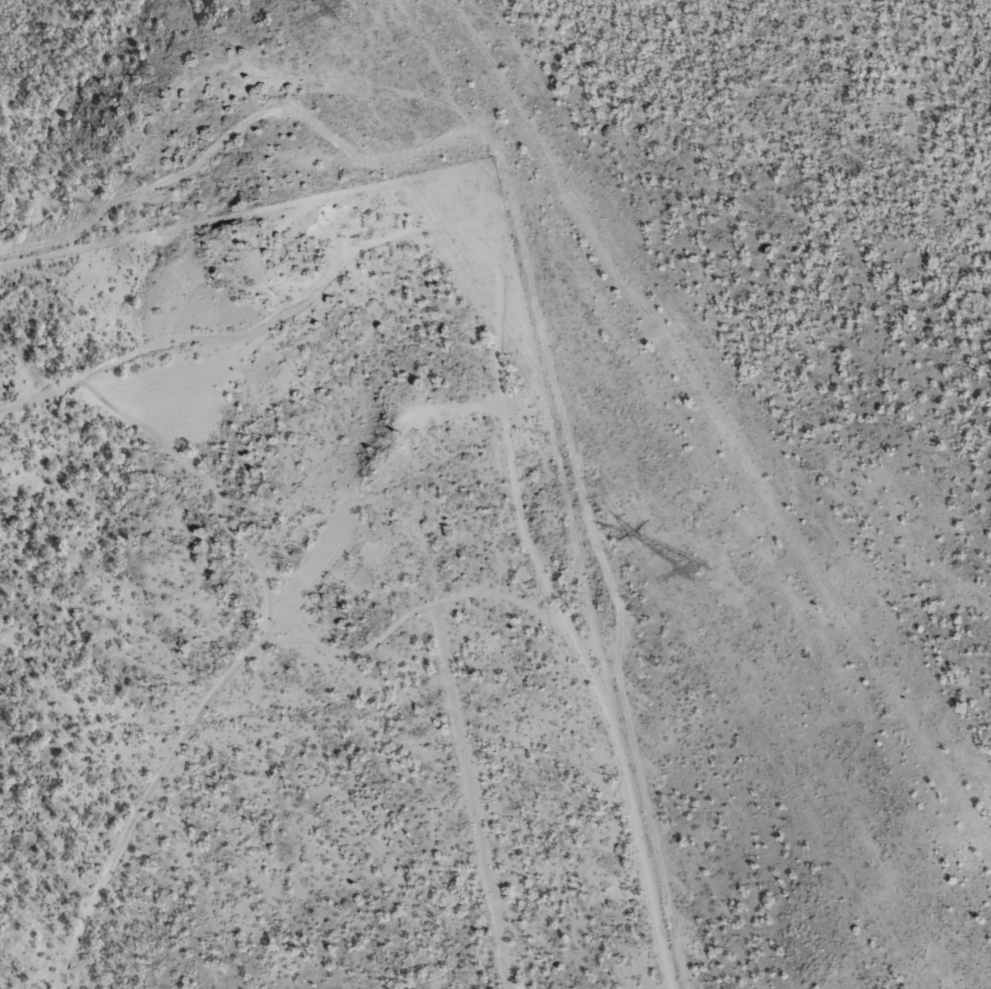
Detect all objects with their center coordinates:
power tower: (341, 10)
road: (685, 329)
road: (515, 347)
power tower: (699, 571)

